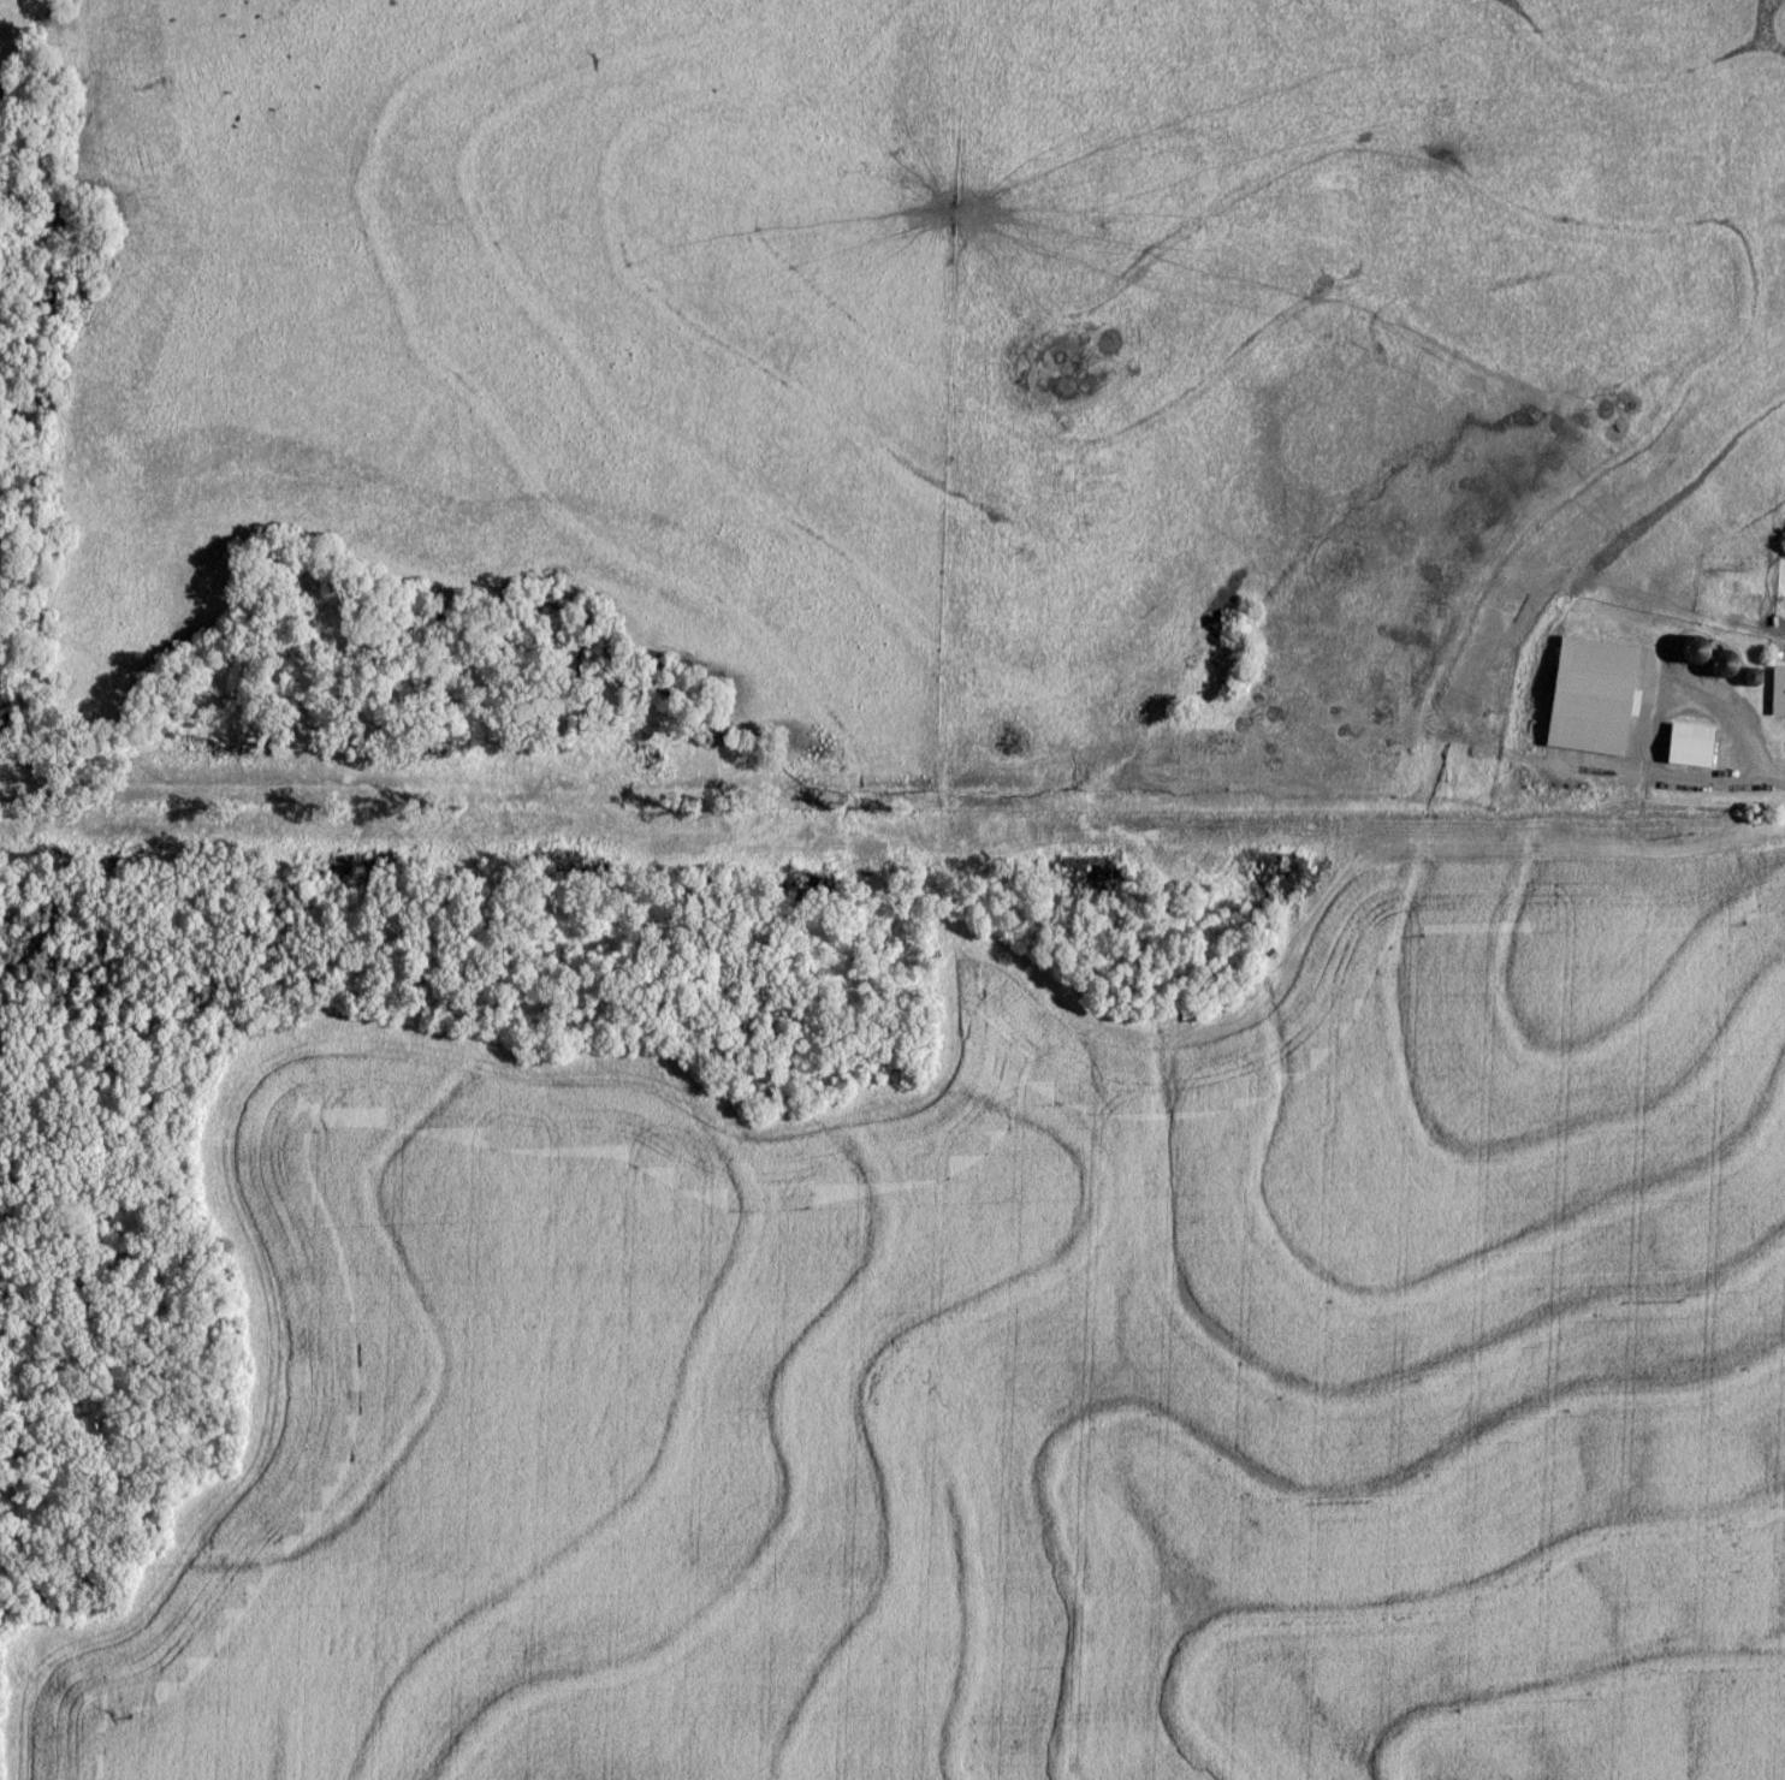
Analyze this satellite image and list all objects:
building: (1577, 663)
building: (1779, 690)
road: (1655, 720)
building: (1589, 734)
building: (1695, 743)
road: (1775, 778)

